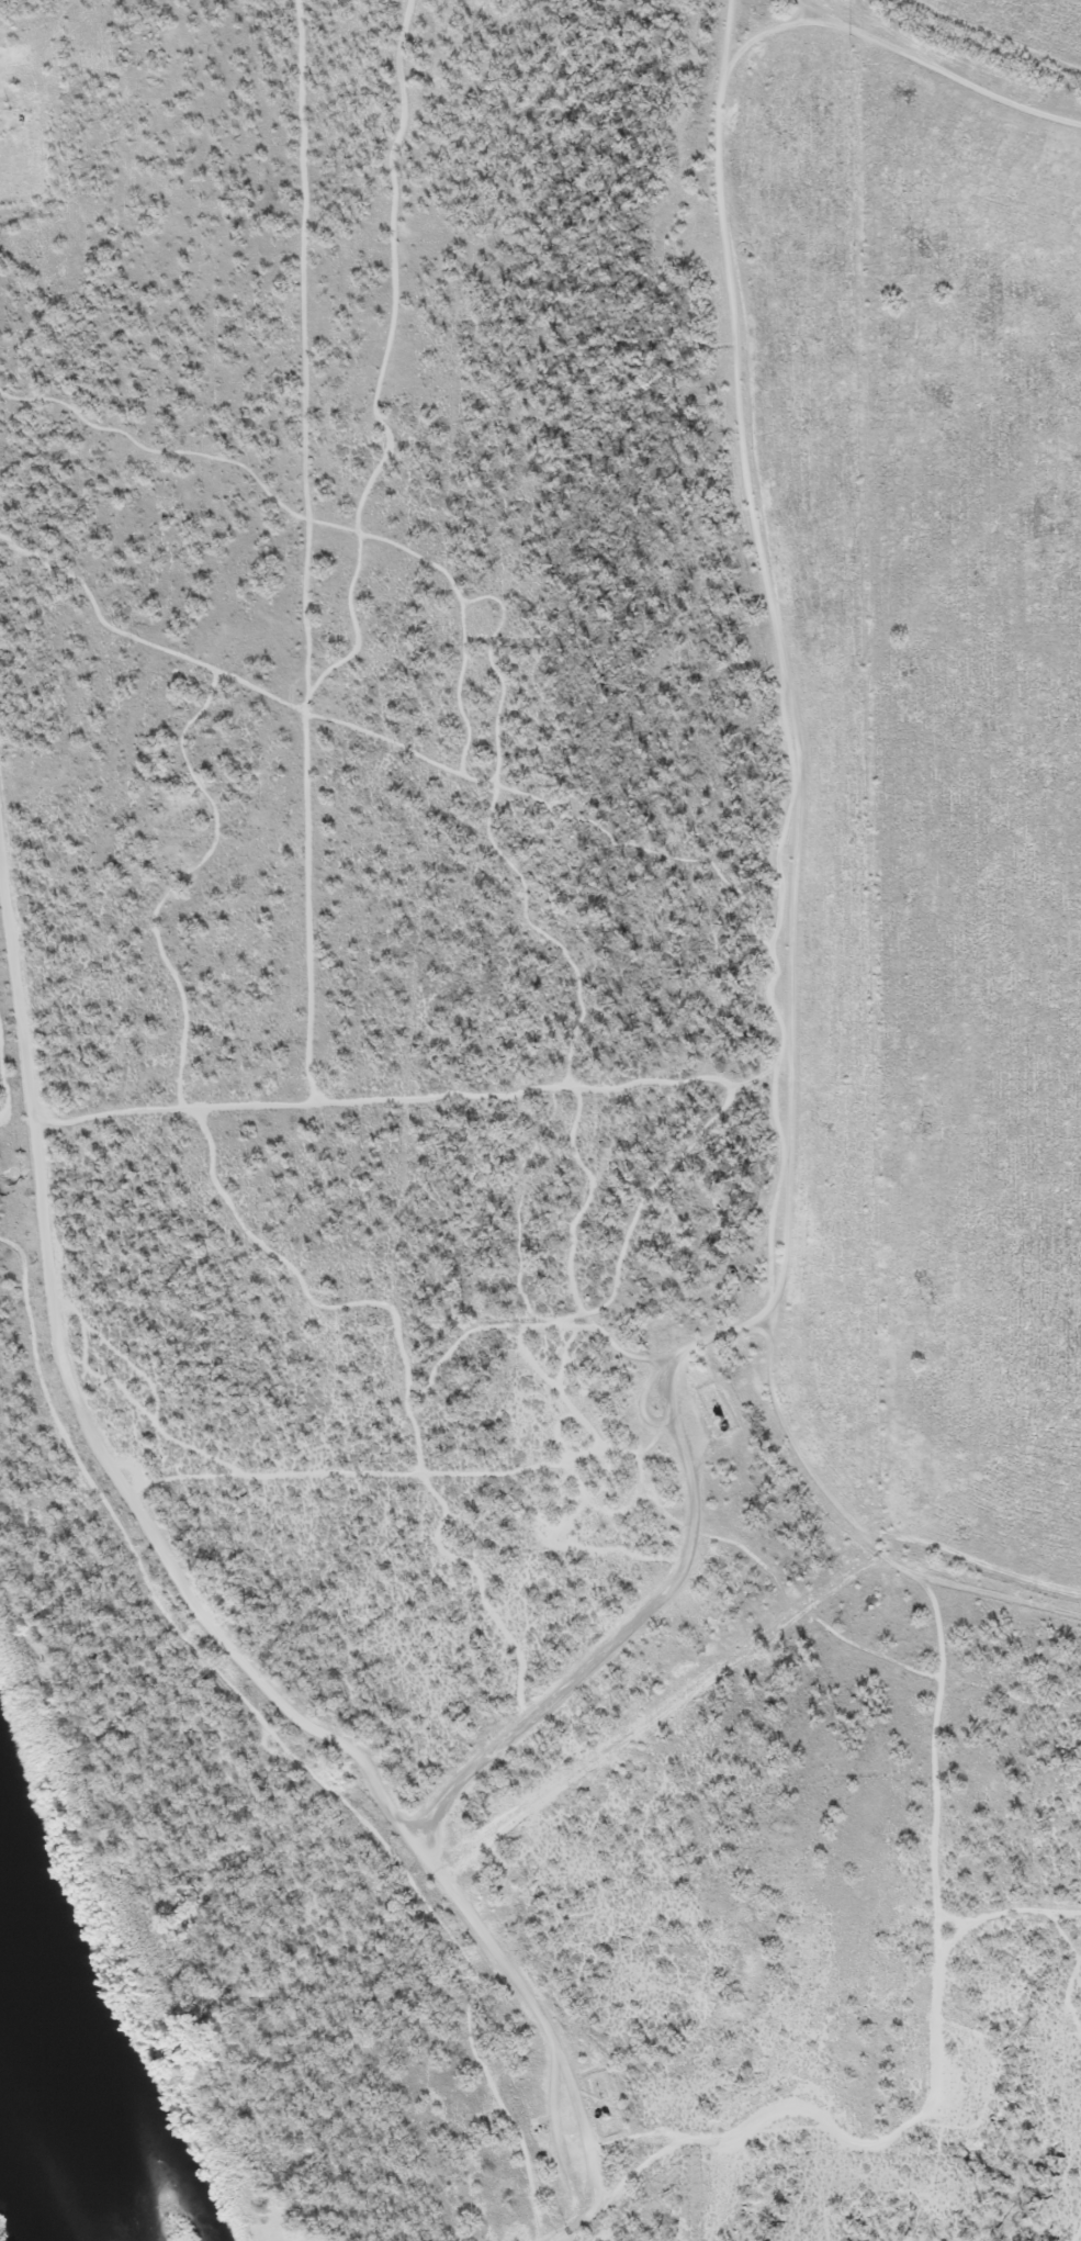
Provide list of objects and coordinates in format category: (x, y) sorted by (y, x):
road: (949, 68)
road: (745, 389)
road: (919, 576)
road: (776, 1277)
river: (64, 2060)

